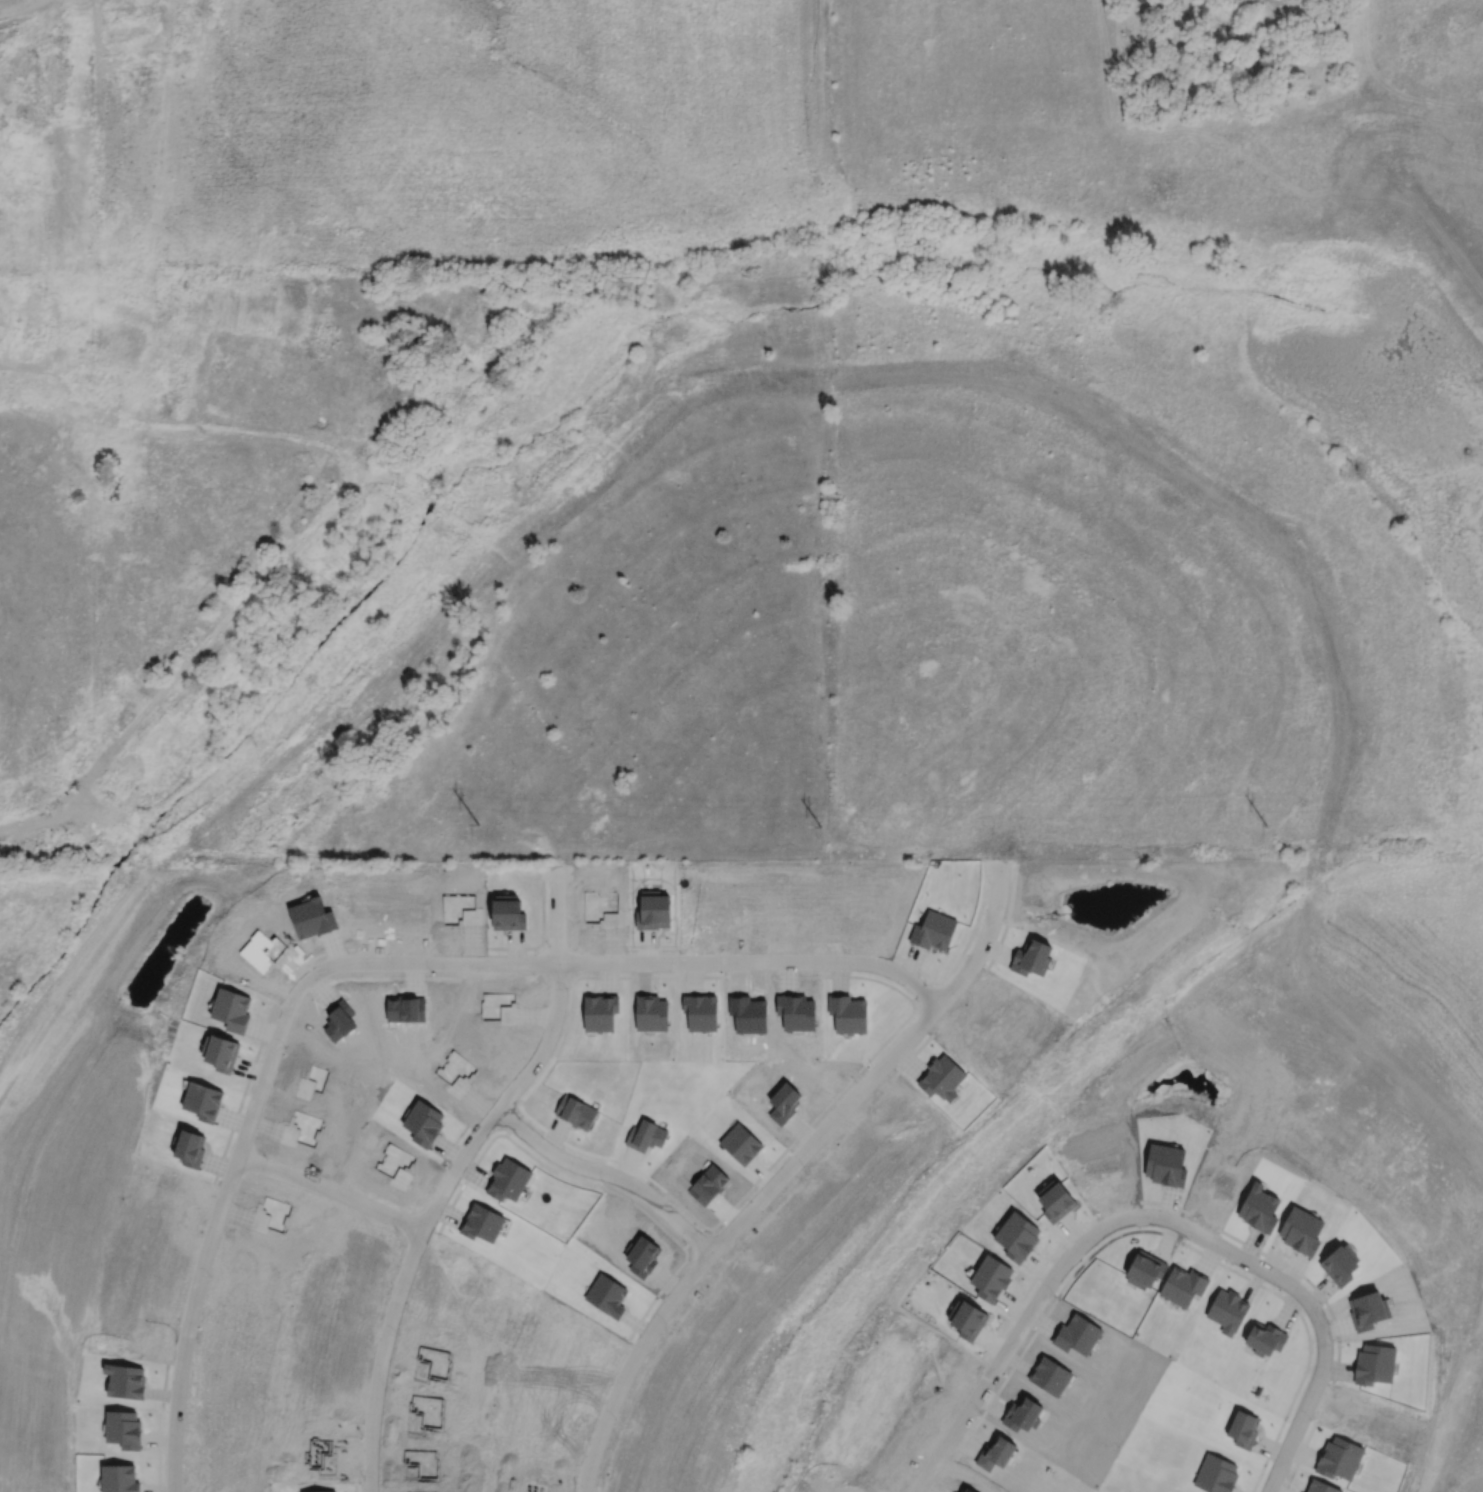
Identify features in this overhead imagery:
building: (128, 16)
building: (5, 157)
dam: (1433, 221)
building: (39, 313)
road: (877, 369)
road: (17, 371)
building: (92, 376)
road: (300, 534)
power tower: (479, 821)
power tower: (820, 824)
power tower: (1264, 824)
road: (639, 961)
building: (575, 1111)
building: (421, 1122)
building: (644, 1134)
road: (453, 1169)
road: (785, 1169)
road: (605, 1173)
building: (505, 1179)
road: (330, 1189)
road: (216, 1216)
building: (480, 1222)
road: (1237, 1256)
road: (1009, 1342)
road: (1300, 1414)

